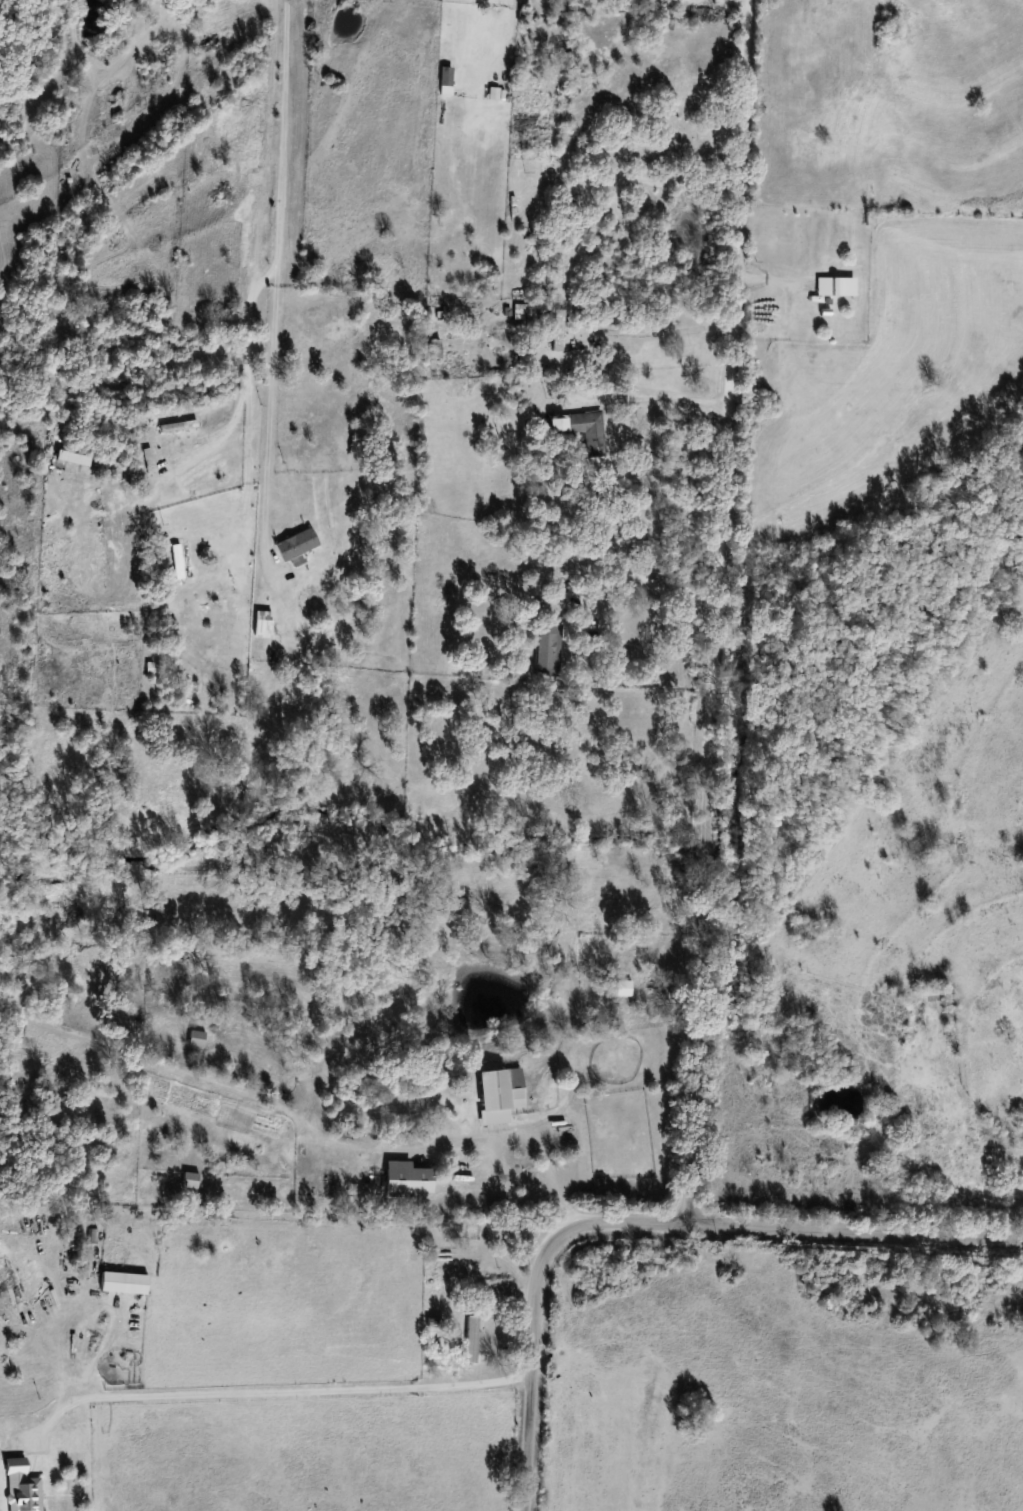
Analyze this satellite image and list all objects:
building: (451, 33)
road: (271, 275)
road: (3, 278)
building: (827, 286)
road: (671, 328)
building: (557, 330)
building: (433, 349)
road: (654, 399)
building: (556, 425)
building: (588, 432)
building: (295, 546)
building: (112, 551)
road: (633, 578)
road: (718, 612)
building: (486, 629)
building: (547, 649)
building: (622, 988)
building: (932, 994)
building: (196, 1039)
building: (500, 1090)
road: (512, 1136)
road: (511, 1177)
building: (407, 1179)
building: (189, 1180)
road: (647, 1222)
building: (123, 1282)
building: (471, 1339)
road: (270, 1394)
building: (21, 1487)

